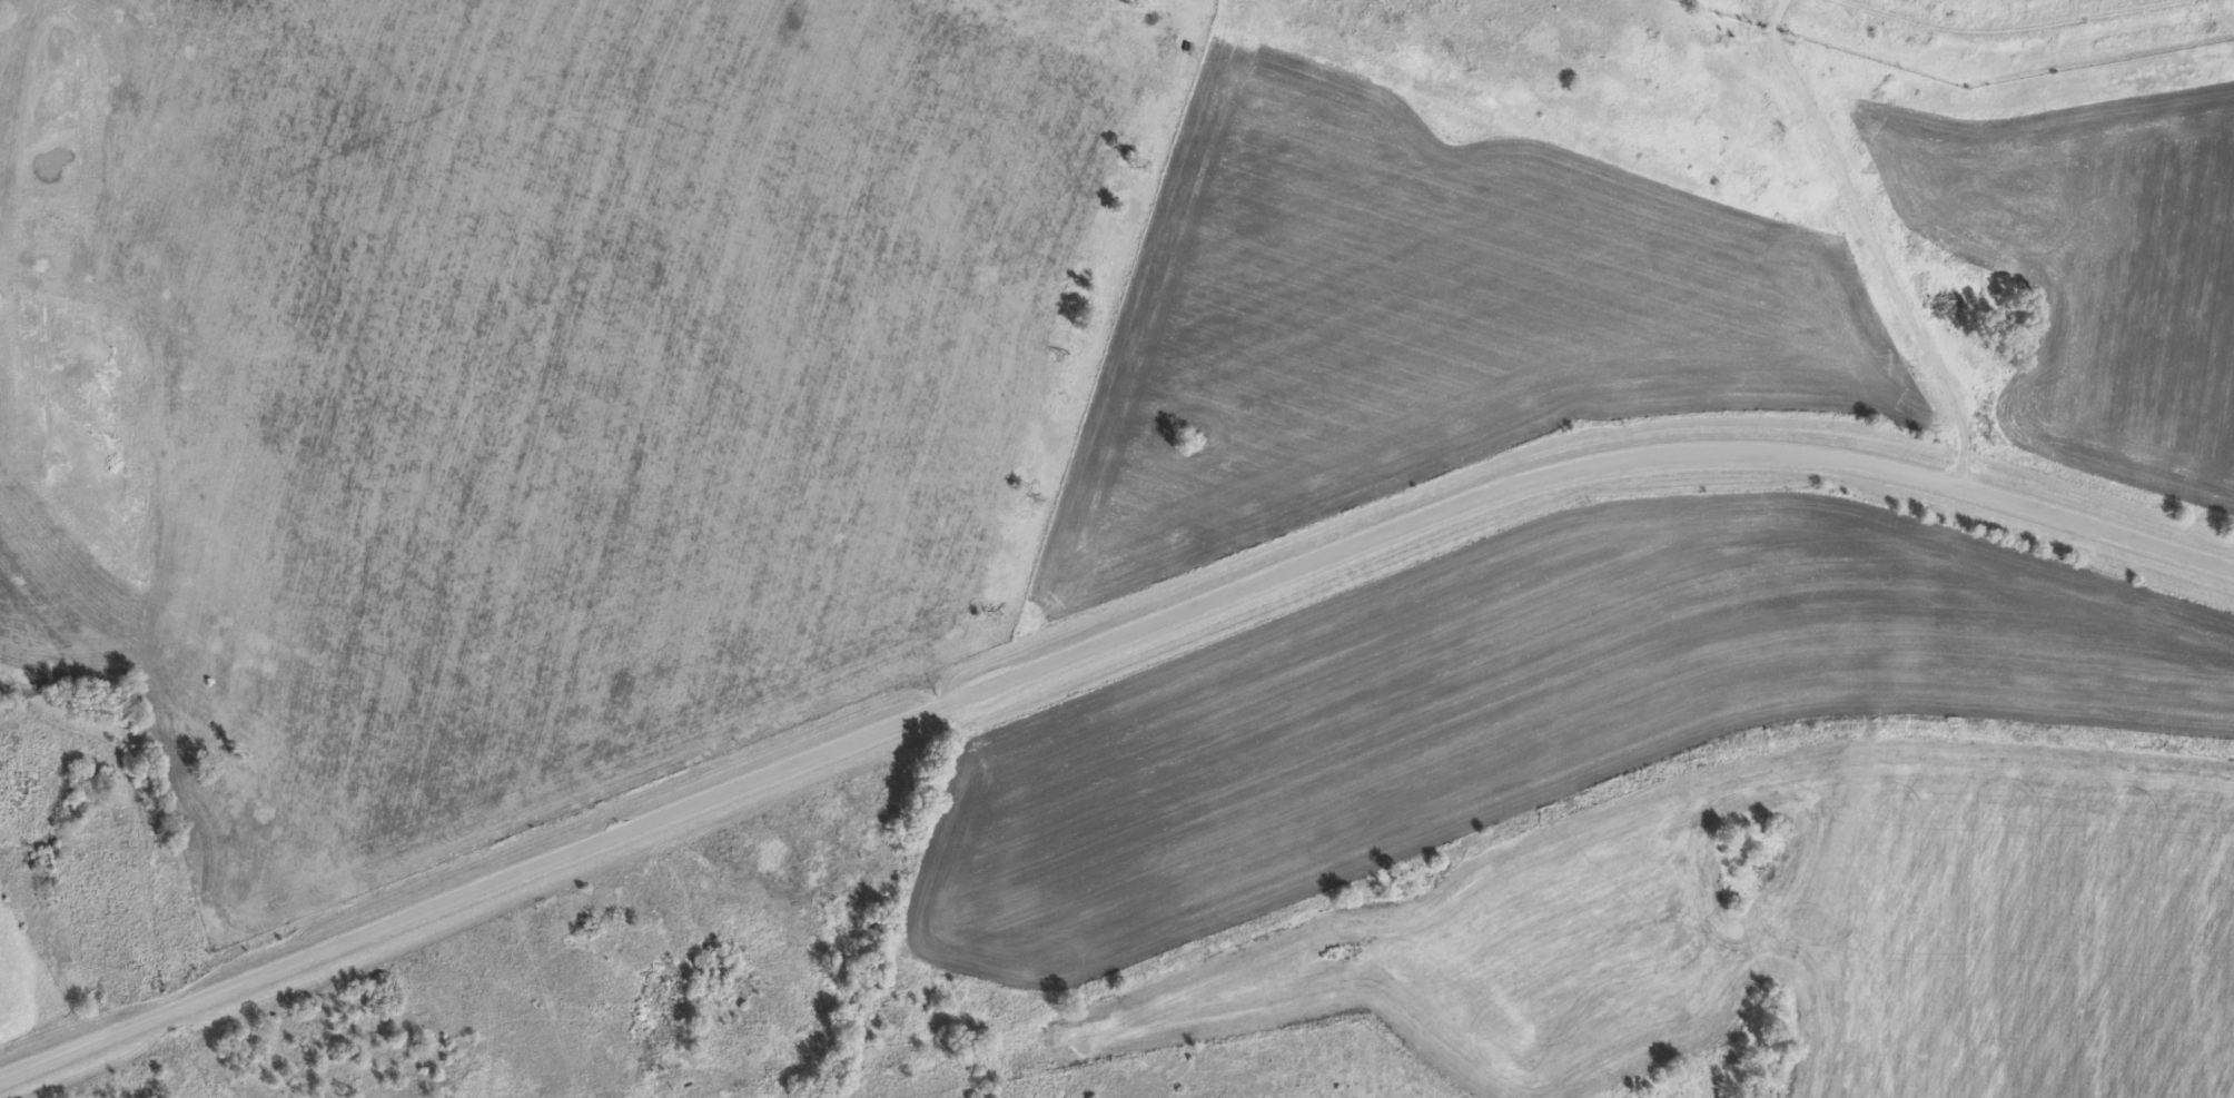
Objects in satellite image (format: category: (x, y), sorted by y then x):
road: (2004, 28)
road: (1103, 650)
railway: (1506, 822)
railway: (856, 1088)

